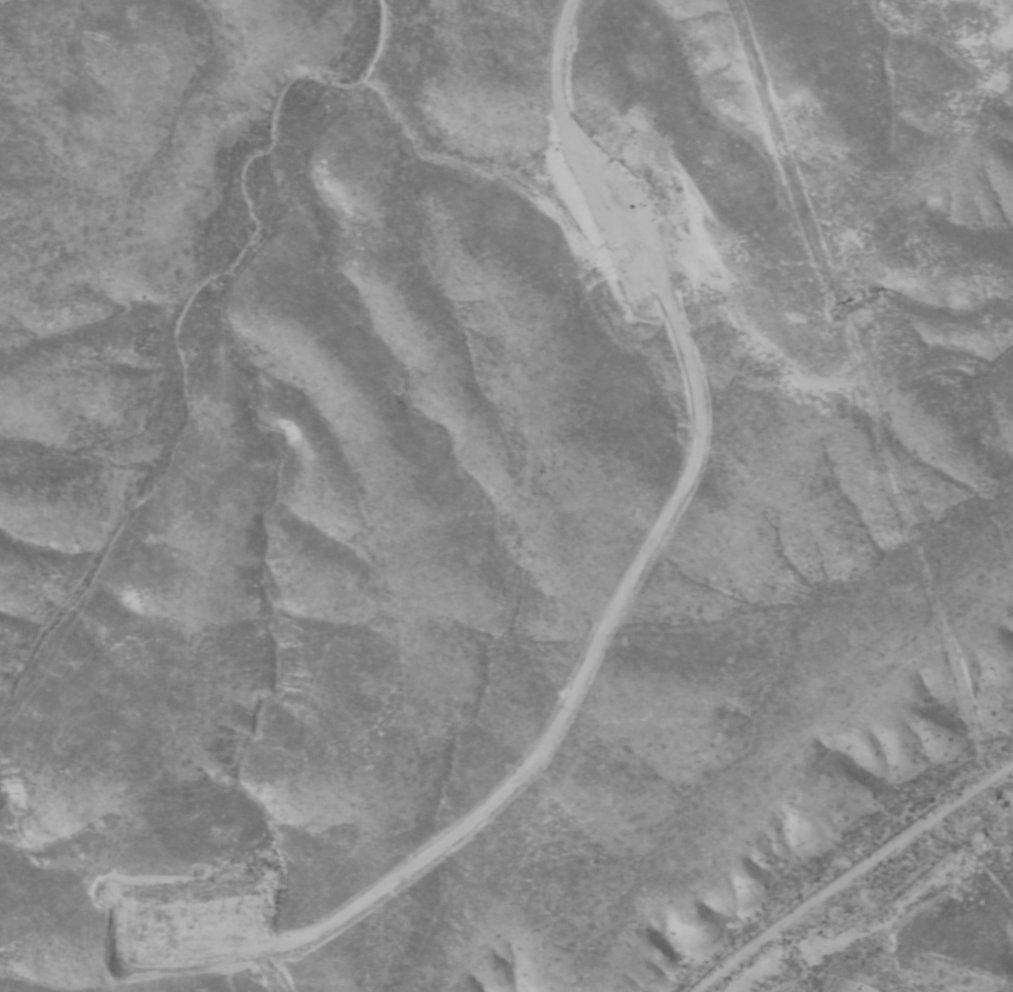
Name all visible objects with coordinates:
road: (832, 873)

